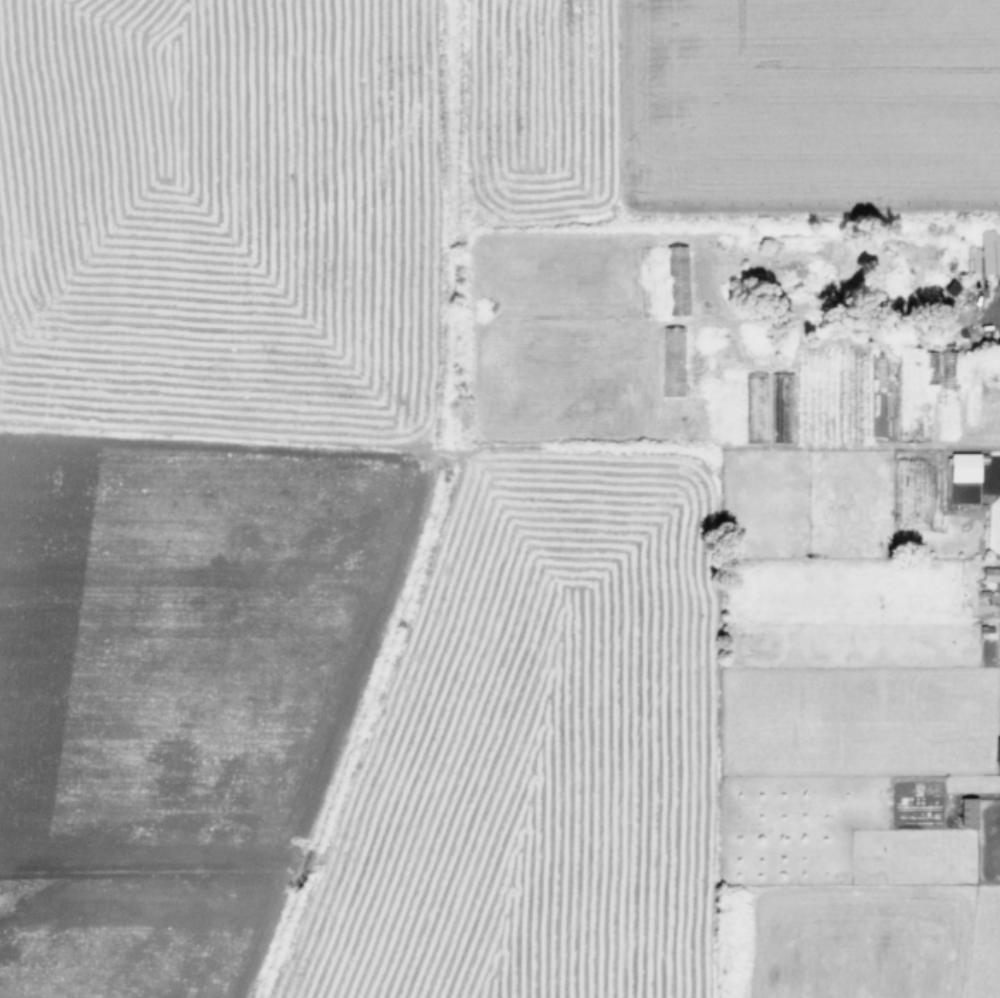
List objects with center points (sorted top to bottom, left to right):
building: (989, 250)
building: (677, 279)
road: (991, 320)
building: (672, 361)
building: (931, 367)
building: (950, 369)
building: (969, 386)
building: (964, 467)
building: (964, 493)
crop: (500, 499)
building: (996, 586)
building: (997, 750)
building: (968, 812)

